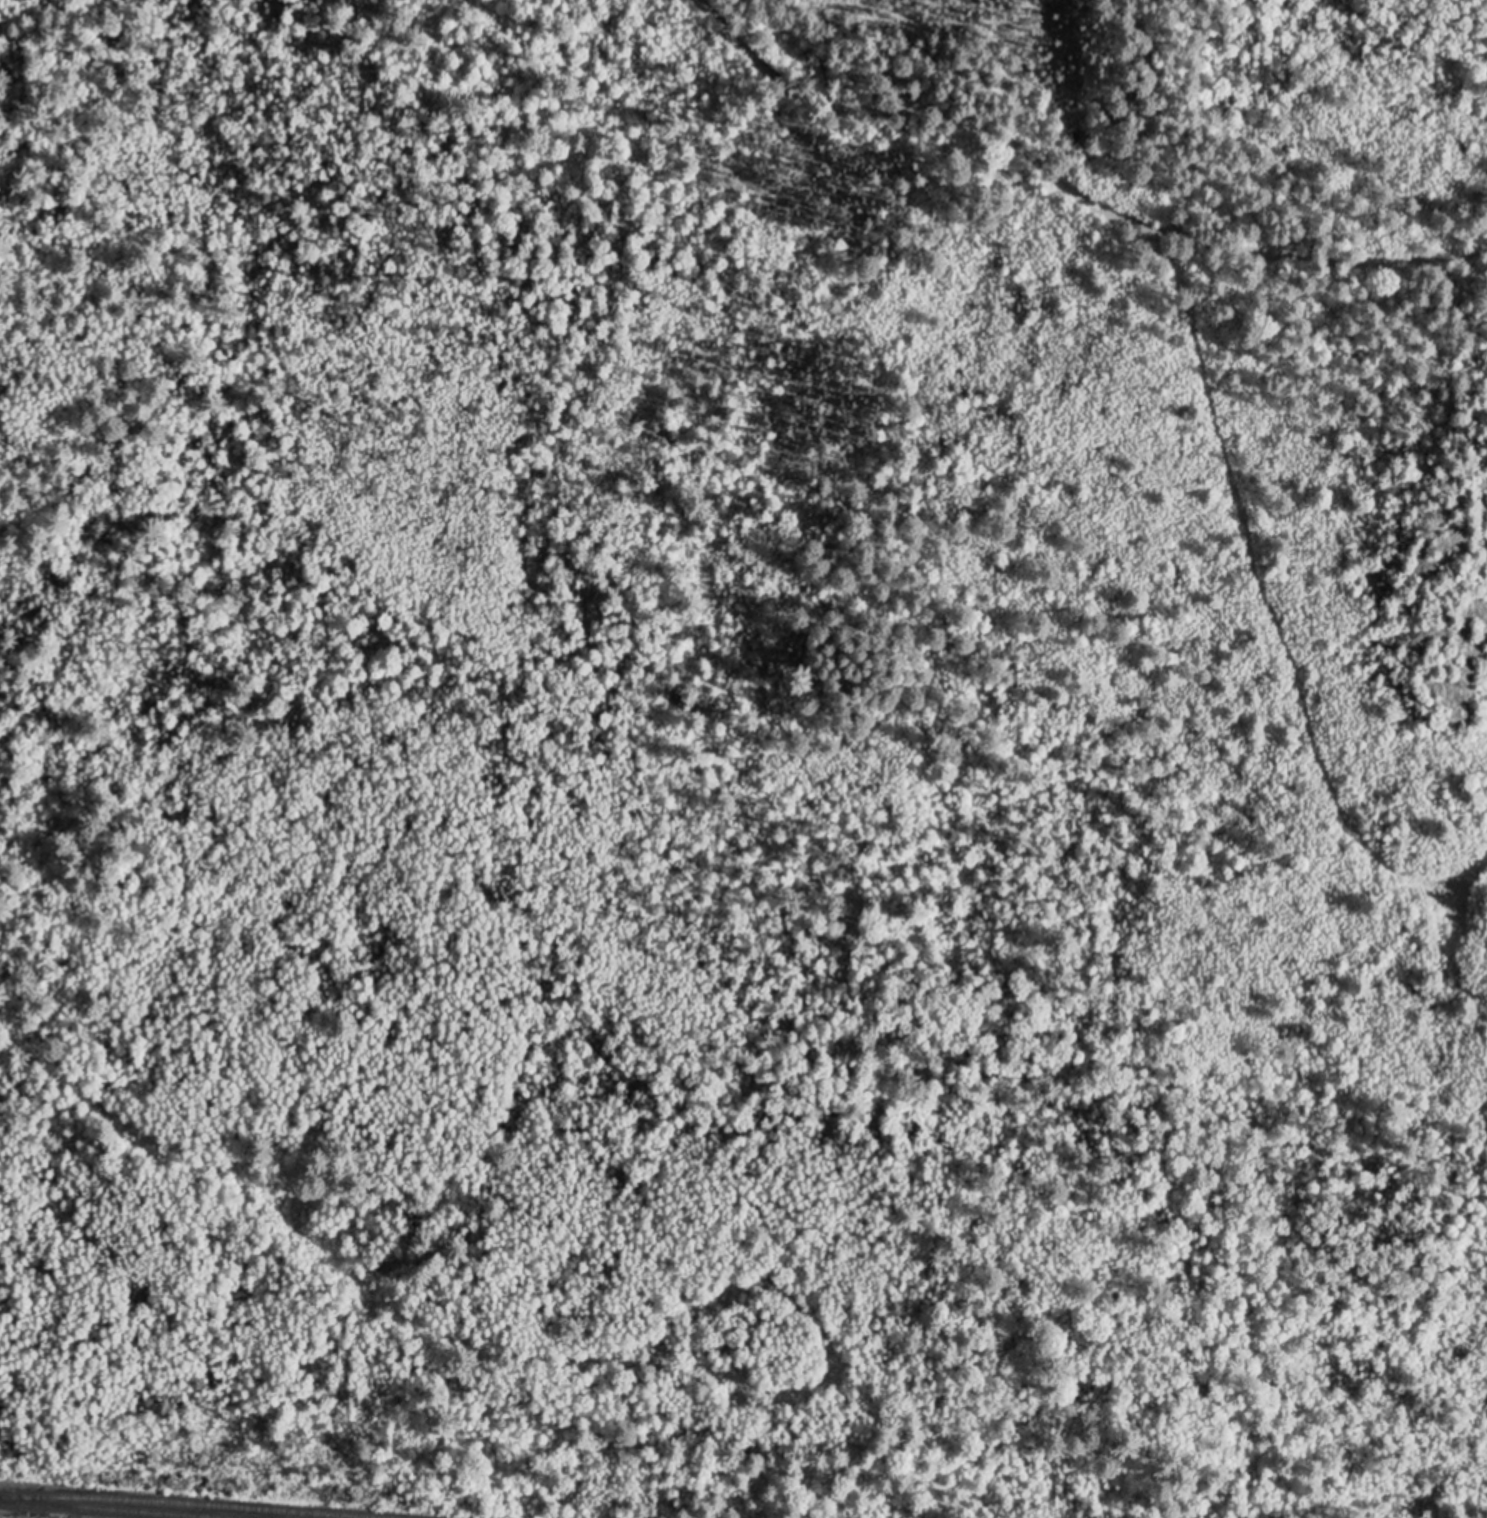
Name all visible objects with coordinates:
road: (1069, 188)
road: (1267, 595)
railway: (172, 1504)
railway: (99, 1510)

